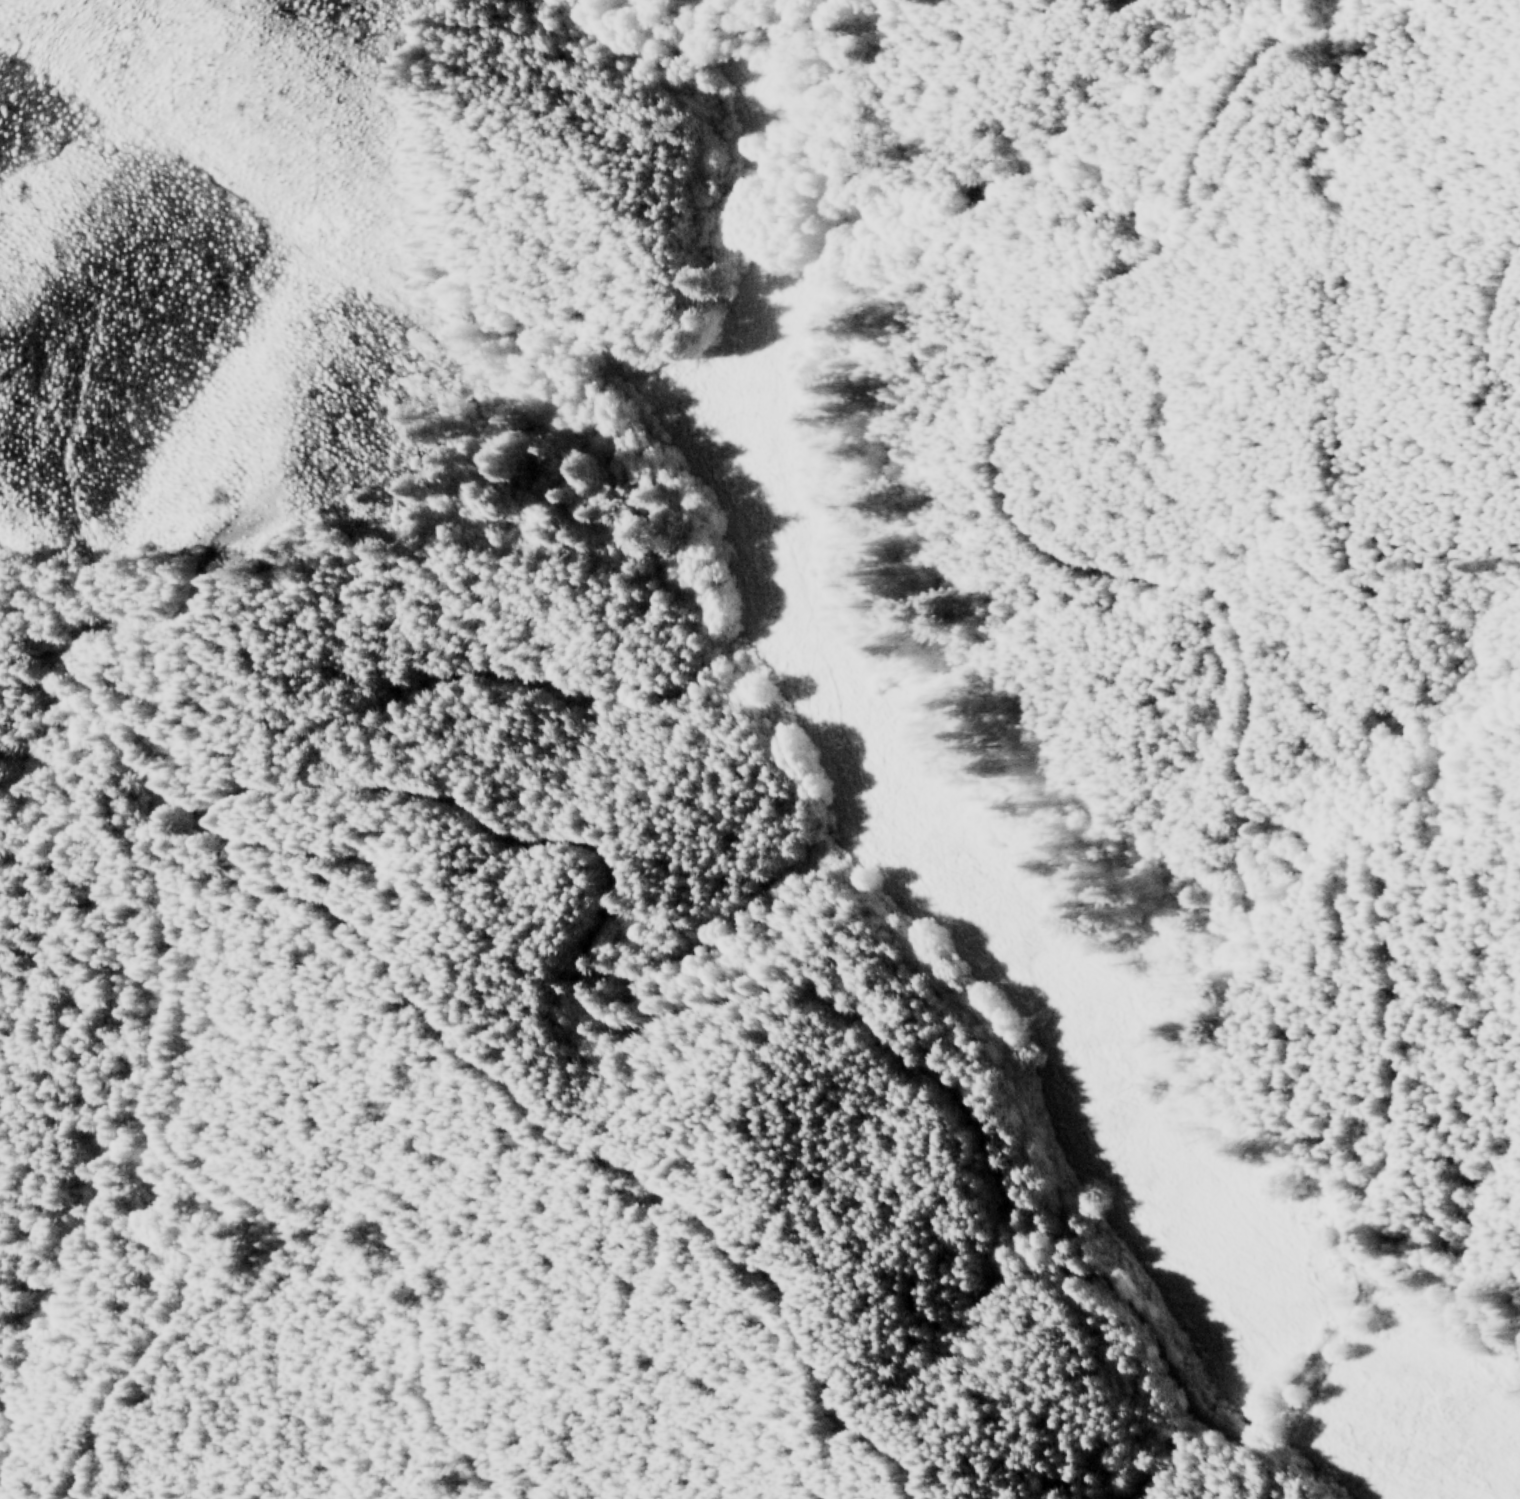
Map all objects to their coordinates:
road: (1200, 594)
road: (872, 1040)
road: (146, 1058)

